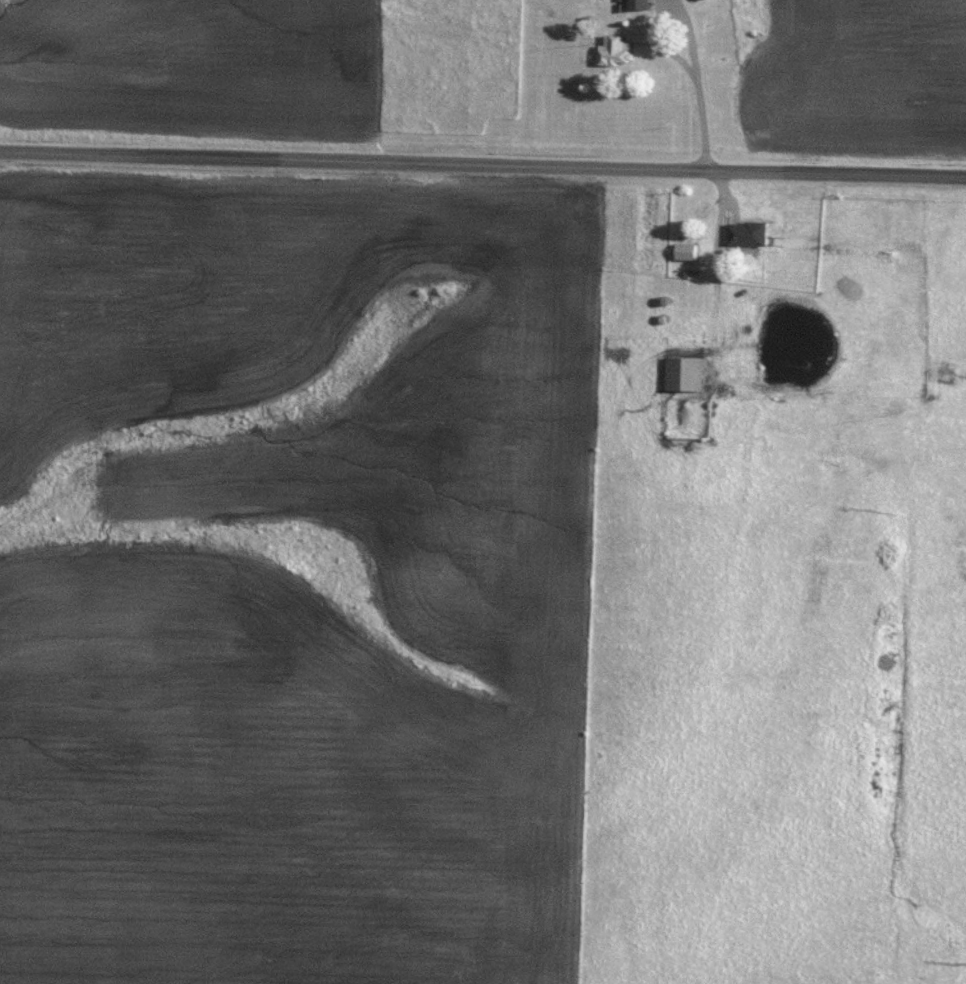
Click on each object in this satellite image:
building: (635, 5)
road: (658, 37)
building: (613, 51)
road: (702, 120)
road: (482, 165)
building: (743, 234)
building: (681, 373)

